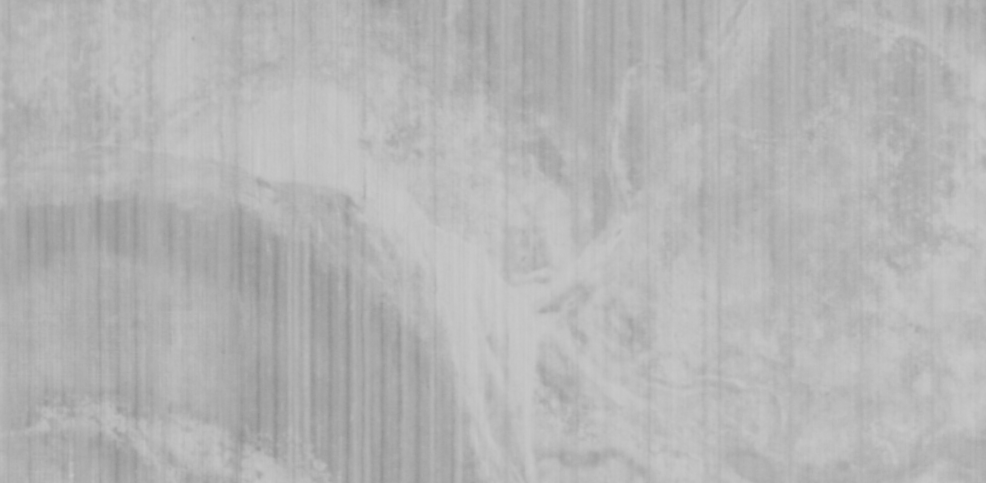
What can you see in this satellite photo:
crop: (621, 241)
crop: (128, 242)

